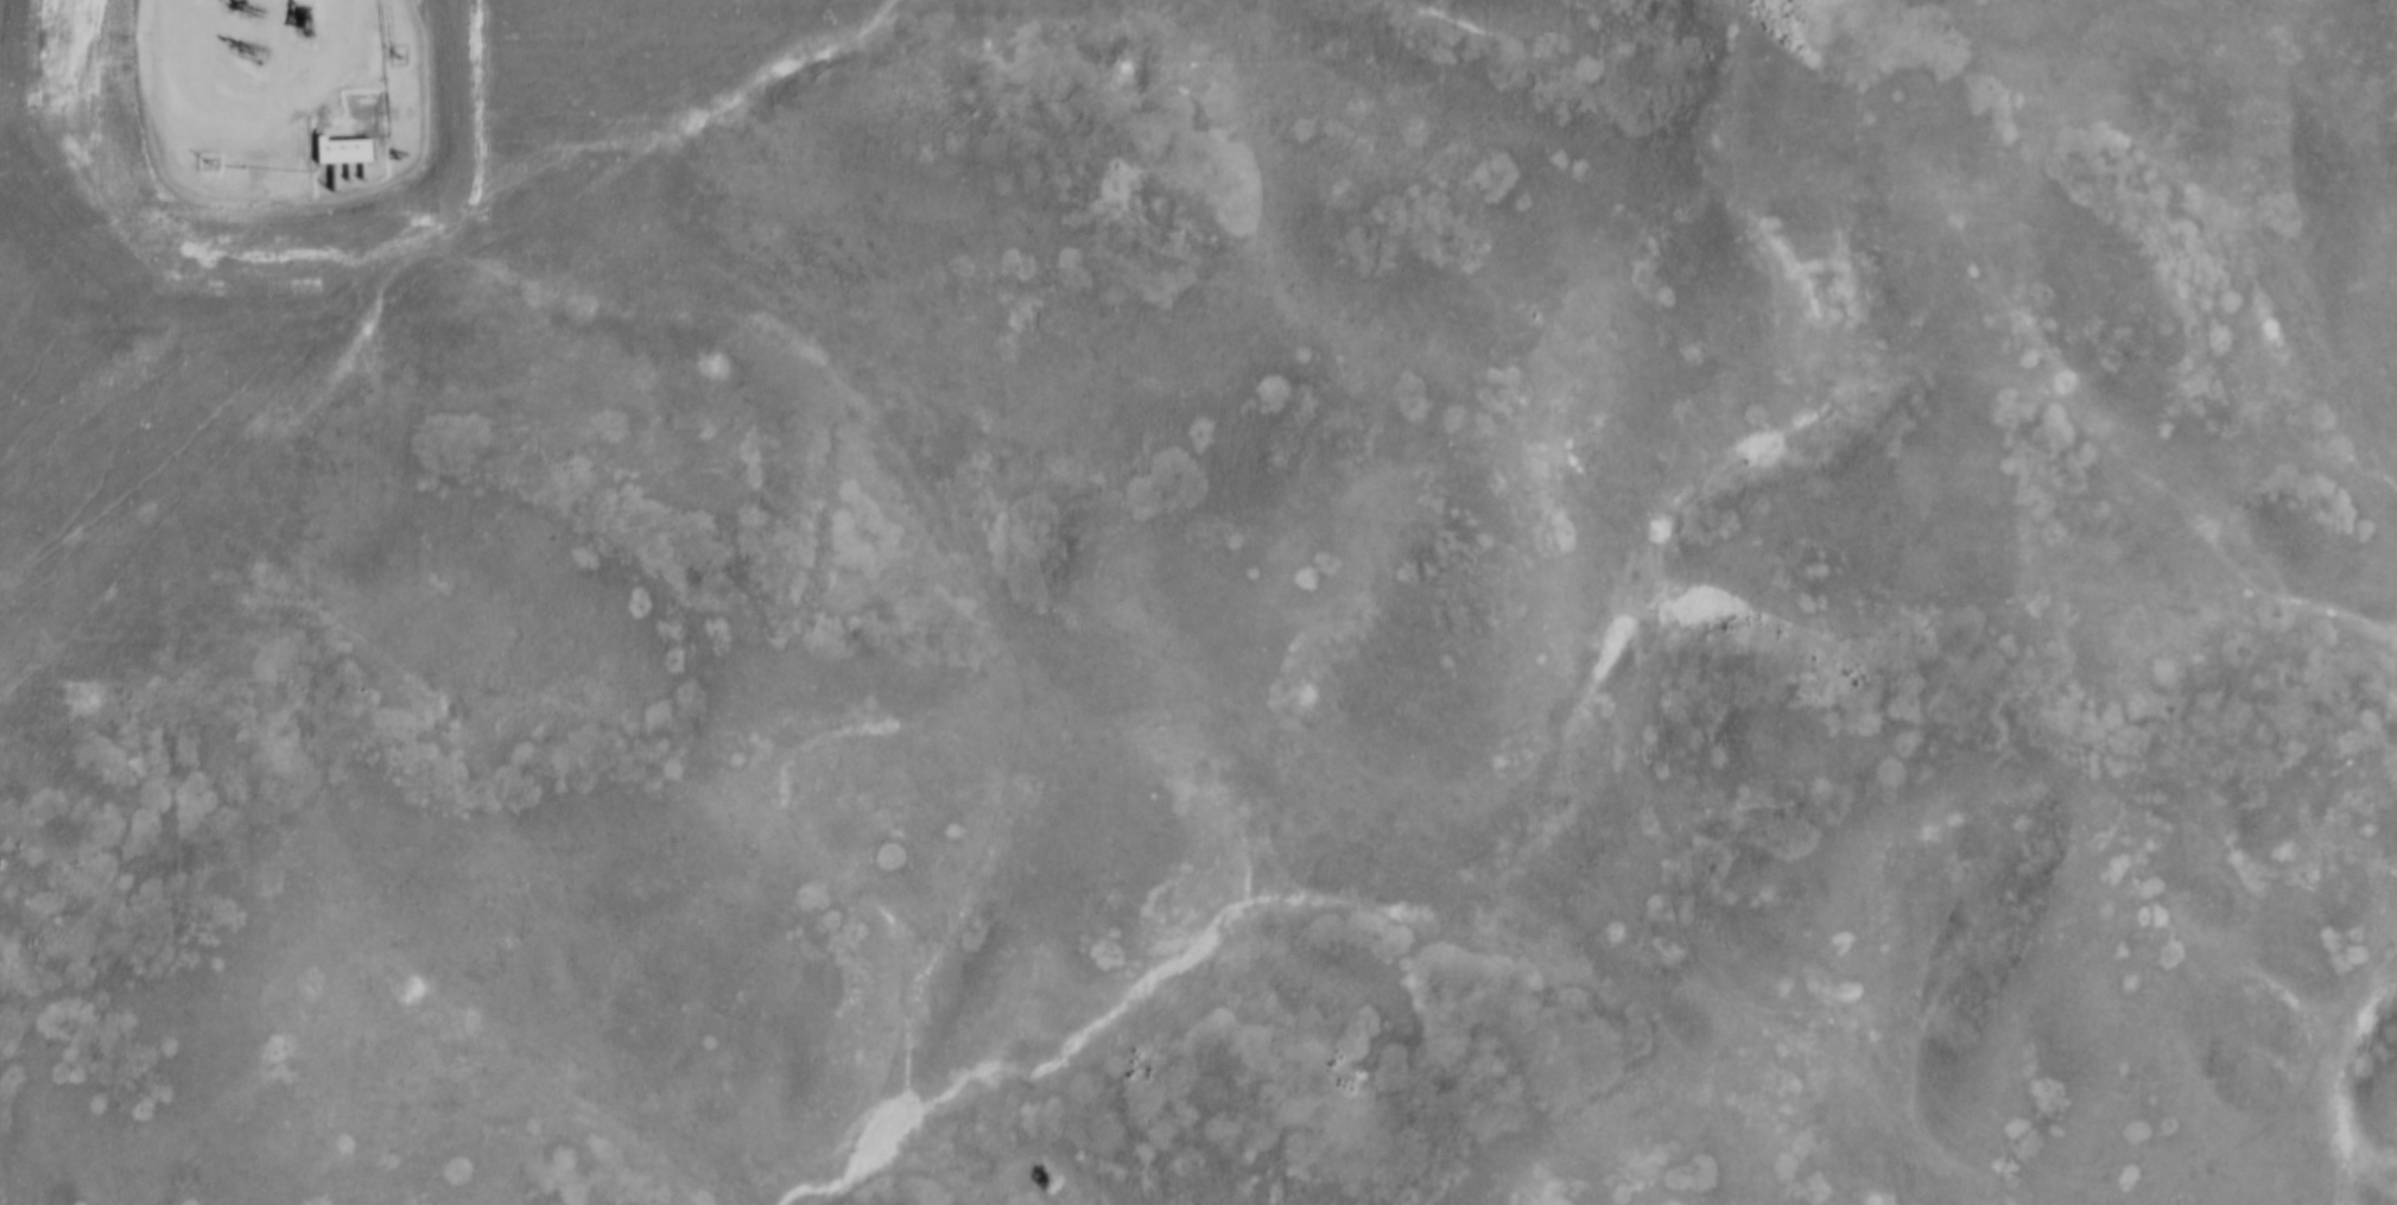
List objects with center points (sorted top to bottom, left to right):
building: (173, 13)
building: (175, 64)
building: (129, 70)
building: (176, 122)
building: (129, 123)

